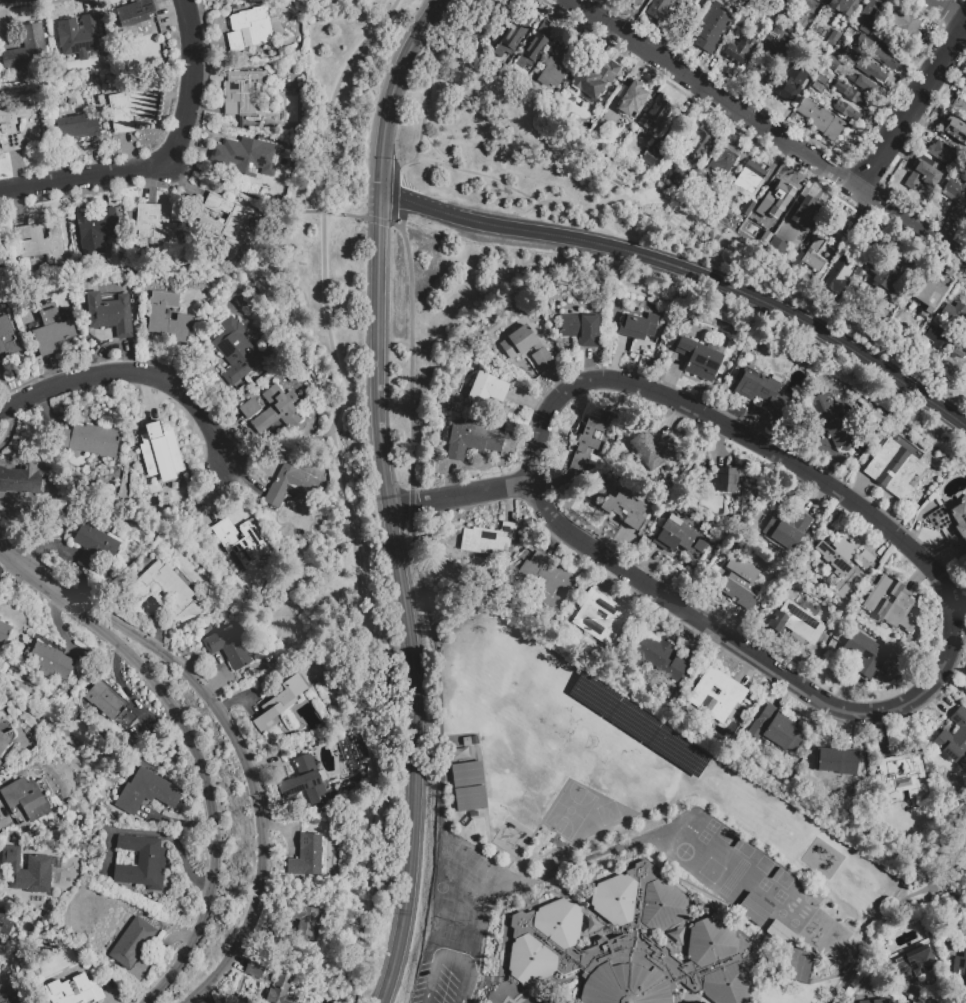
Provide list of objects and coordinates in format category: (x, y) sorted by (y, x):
building: (840, 0)
building: (850, 2)
building: (633, 3)
building: (700, 6)
building: (505, 8)
building: (781, 11)
road: (949, 11)
road: (435, 12)
building: (834, 12)
building: (135, 14)
building: (664, 16)
building: (869, 17)
building: (798, 23)
building: (906, 25)
building: (481, 28)
building: (823, 29)
building: (713, 30)
building: (249, 31)
building: (515, 37)
building: (83, 40)
building: (891, 44)
building: (536, 48)
building: (27, 51)
building: (869, 52)
building: (739, 53)
building: (770, 54)
building: (833, 66)
building: (557, 67)
building: (863, 69)
building: (752, 72)
building: (593, 82)
building: (964, 82)
building: (965, 85)
building: (867, 87)
building: (788, 91)
building: (242, 93)
building: (633, 96)
building: (851, 96)
road: (427, 102)
road: (389, 103)
road: (912, 105)
building: (960, 109)
building: (129, 110)
building: (847, 113)
building: (657, 118)
building: (822, 122)
building: (17, 129)
building: (77, 129)
road: (769, 129)
building: (956, 131)
building: (298, 137)
building: (698, 145)
building: (296, 148)
building: (943, 154)
building: (246, 158)
road: (436, 159)
building: (652, 160)
building: (724, 161)
road: (167, 164)
building: (921, 180)
building: (750, 181)
traffic signals: (382, 183)
building: (678, 183)
road: (394, 194)
building: (719, 194)
traffic signals: (397, 197)
road: (267, 200)
building: (773, 200)
building: (957, 203)
building: (748, 211)
building: (727, 212)
building: (807, 214)
road: (380, 221)
building: (226, 223)
traffic signals: (379, 227)
building: (772, 227)
building: (152, 229)
building: (96, 231)
building: (41, 243)
building: (839, 243)
building: (778, 246)
road: (689, 251)
building: (1, 260)
building: (813, 262)
road: (689, 270)
building: (862, 270)
building: (884, 275)
building: (835, 285)
building: (932, 292)
building: (965, 303)
building: (899, 312)
building: (111, 314)
building: (157, 314)
building: (954, 315)
building: (536, 326)
building: (638, 327)
building: (581, 330)
building: (52, 331)
building: (937, 338)
building: (8, 340)
building: (526, 347)
road: (377, 348)
building: (236, 353)
building: (960, 353)
road: (410, 354)
building: (699, 361)
road: (137, 373)
road: (621, 380)
road: (340, 385)
building: (242, 390)
building: (487, 390)
building: (762, 392)
building: (248, 397)
building: (250, 409)
building: (276, 413)
building: (878, 419)
building: (831, 422)
building: (876, 429)
building: (90, 441)
building: (472, 442)
building: (904, 444)
building: (588, 445)
building: (653, 451)
road: (280, 453)
building: (852, 453)
building: (162, 455)
building: (894, 471)
building: (23, 480)
building: (723, 481)
building: (291, 488)
road: (458, 493)
road: (410, 504)
building: (915, 508)
building: (625, 510)
building: (952, 525)
building: (787, 530)
building: (682, 535)
building: (447, 538)
building: (489, 541)
building: (241, 543)
building: (94, 548)
road: (15, 555)
building: (838, 556)
building: (865, 560)
building: (546, 581)
building: (741, 584)
building: (163, 590)
building: (583, 590)
building: (890, 606)
building: (0, 619)
building: (602, 619)
building: (797, 624)
building: (517, 633)
building: (4, 634)
building: (227, 648)
building: (864, 655)
building: (659, 658)
building: (49, 662)
building: (904, 668)
building: (682, 683)
road: (952, 686)
building: (593, 695)
building: (717, 695)
building: (280, 703)
building: (111, 707)
building: (632, 721)
building: (777, 731)
building: (954, 740)
building: (4, 744)
road: (242, 747)
building: (677, 750)
road: (417, 754)
building: (0, 760)
road: (198, 763)
building: (838, 763)
building: (0, 765)
building: (467, 776)
building: (904, 778)
building: (305, 782)
road: (440, 789)
road: (381, 791)
building: (147, 793)
building: (25, 801)
building: (471, 801)
park: (746, 805)
park: (569, 809)
park: (607, 812)
building: (16, 841)
park: (734, 842)
park: (444, 850)
building: (309, 857)
park: (458, 863)
building: (141, 864)
park: (957, 864)
park: (710, 870)
building: (27, 872)
park: (773, 872)
park: (482, 880)
park: (440, 886)
park: (807, 899)
road: (895, 899)
road: (385, 901)
building: (752, 908)
park: (781, 912)
park: (441, 917)
building: (5, 918)
park: (457, 921)
building: (303, 922)
park: (792, 922)
building: (779, 933)
road: (482, 935)
building: (132, 944)
building: (630, 945)
building: (37, 960)
road: (434, 962)
building: (797, 965)
building: (914, 965)
building: (255, 969)
building: (960, 971)
road: (464, 984)
building: (11, 991)
building: (74, 991)
building: (281, 992)
building: (882, 1001)

